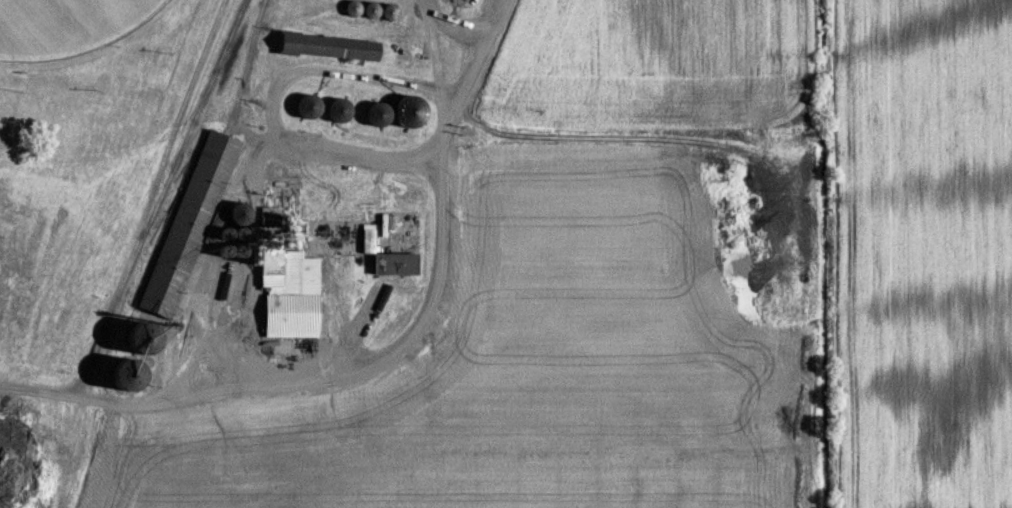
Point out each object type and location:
building: (389, 12)
park: (66, 25)
building: (321, 48)
building: (308, 106)
building: (338, 111)
building: (376, 114)
building: (336, 244)
building: (393, 263)
building: (290, 296)
road: (388, 361)
building: (126, 376)

